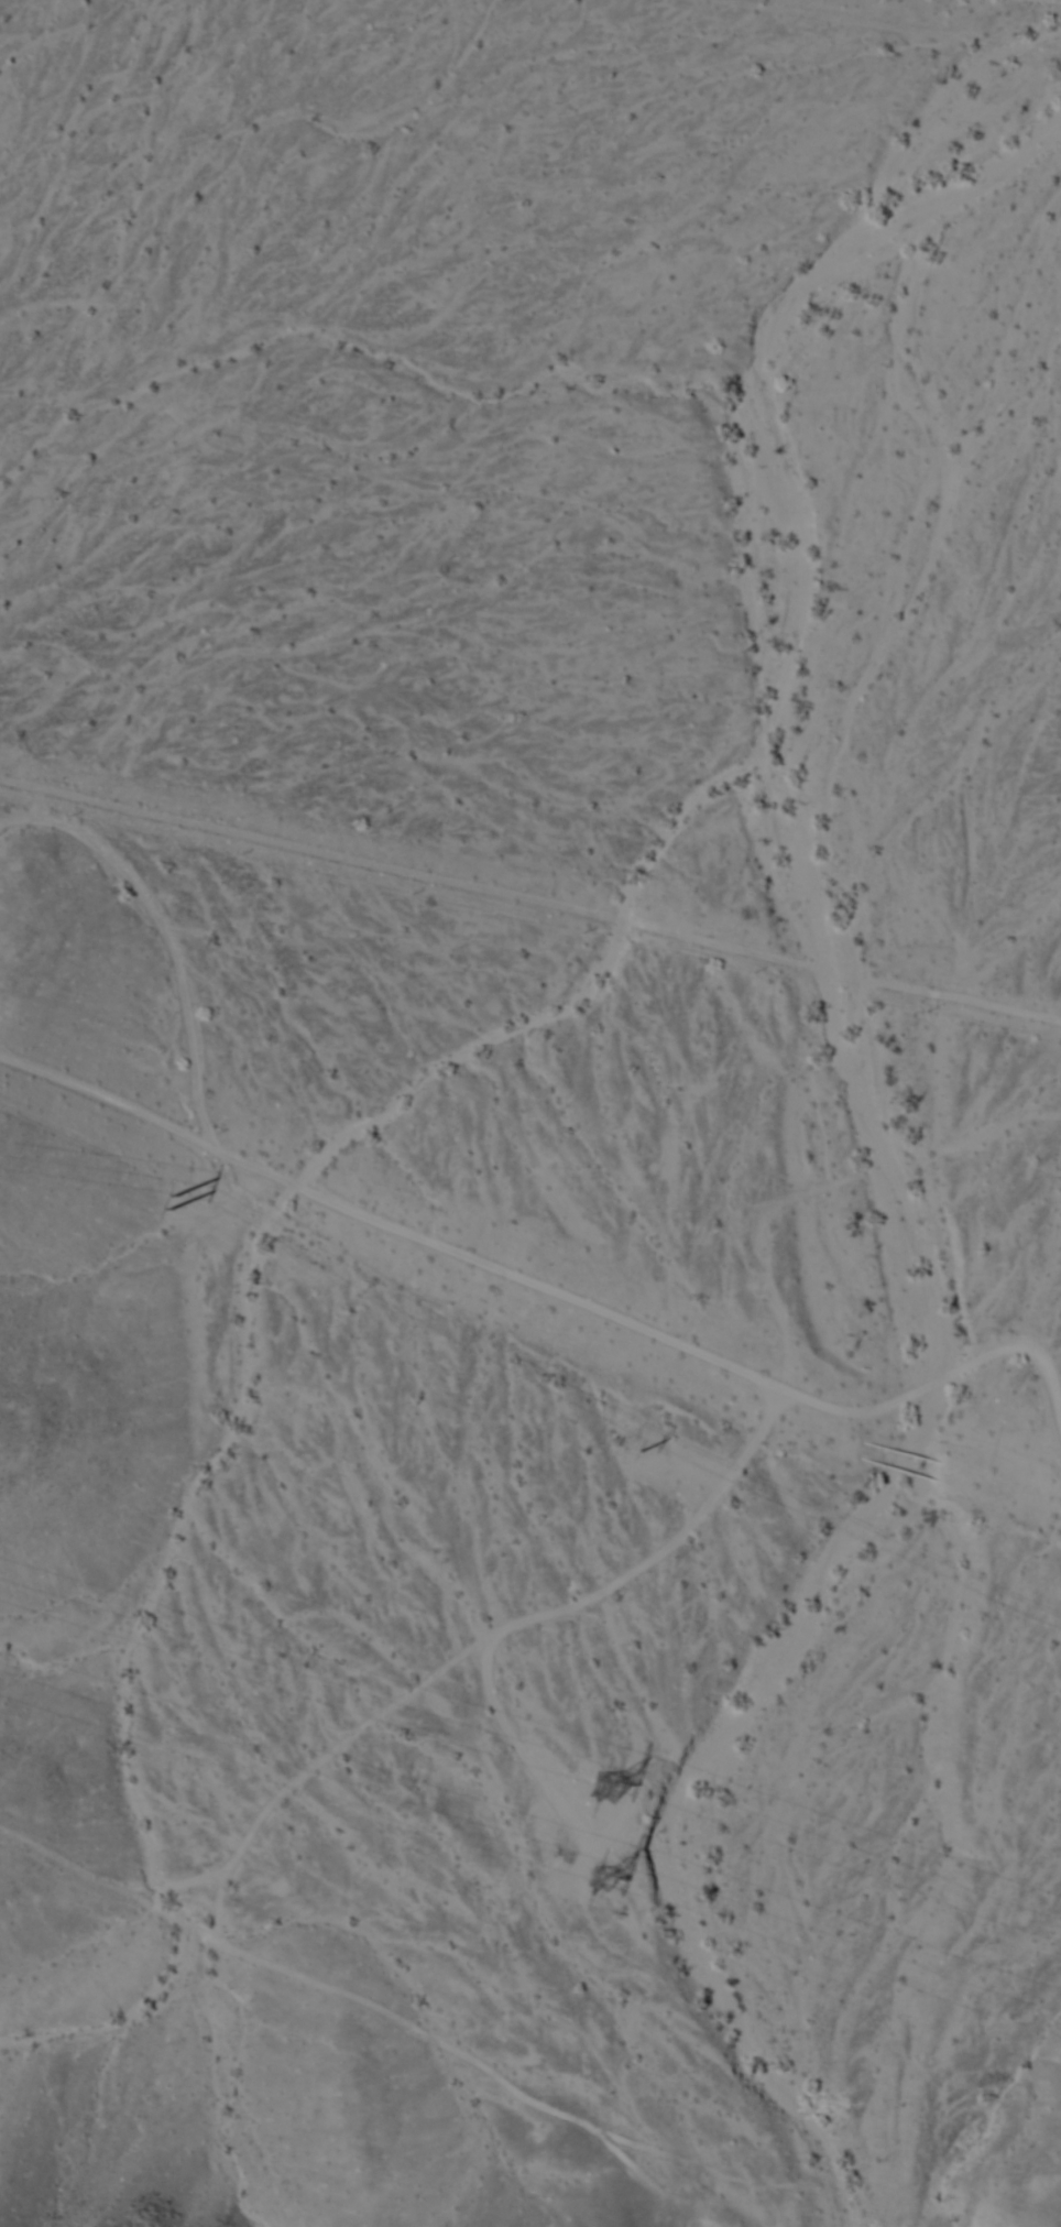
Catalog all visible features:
road: (529, 903)
power tower: (167, 1200)
road: (544, 1289)
power tower: (604, 1784)
power tower: (602, 1874)

